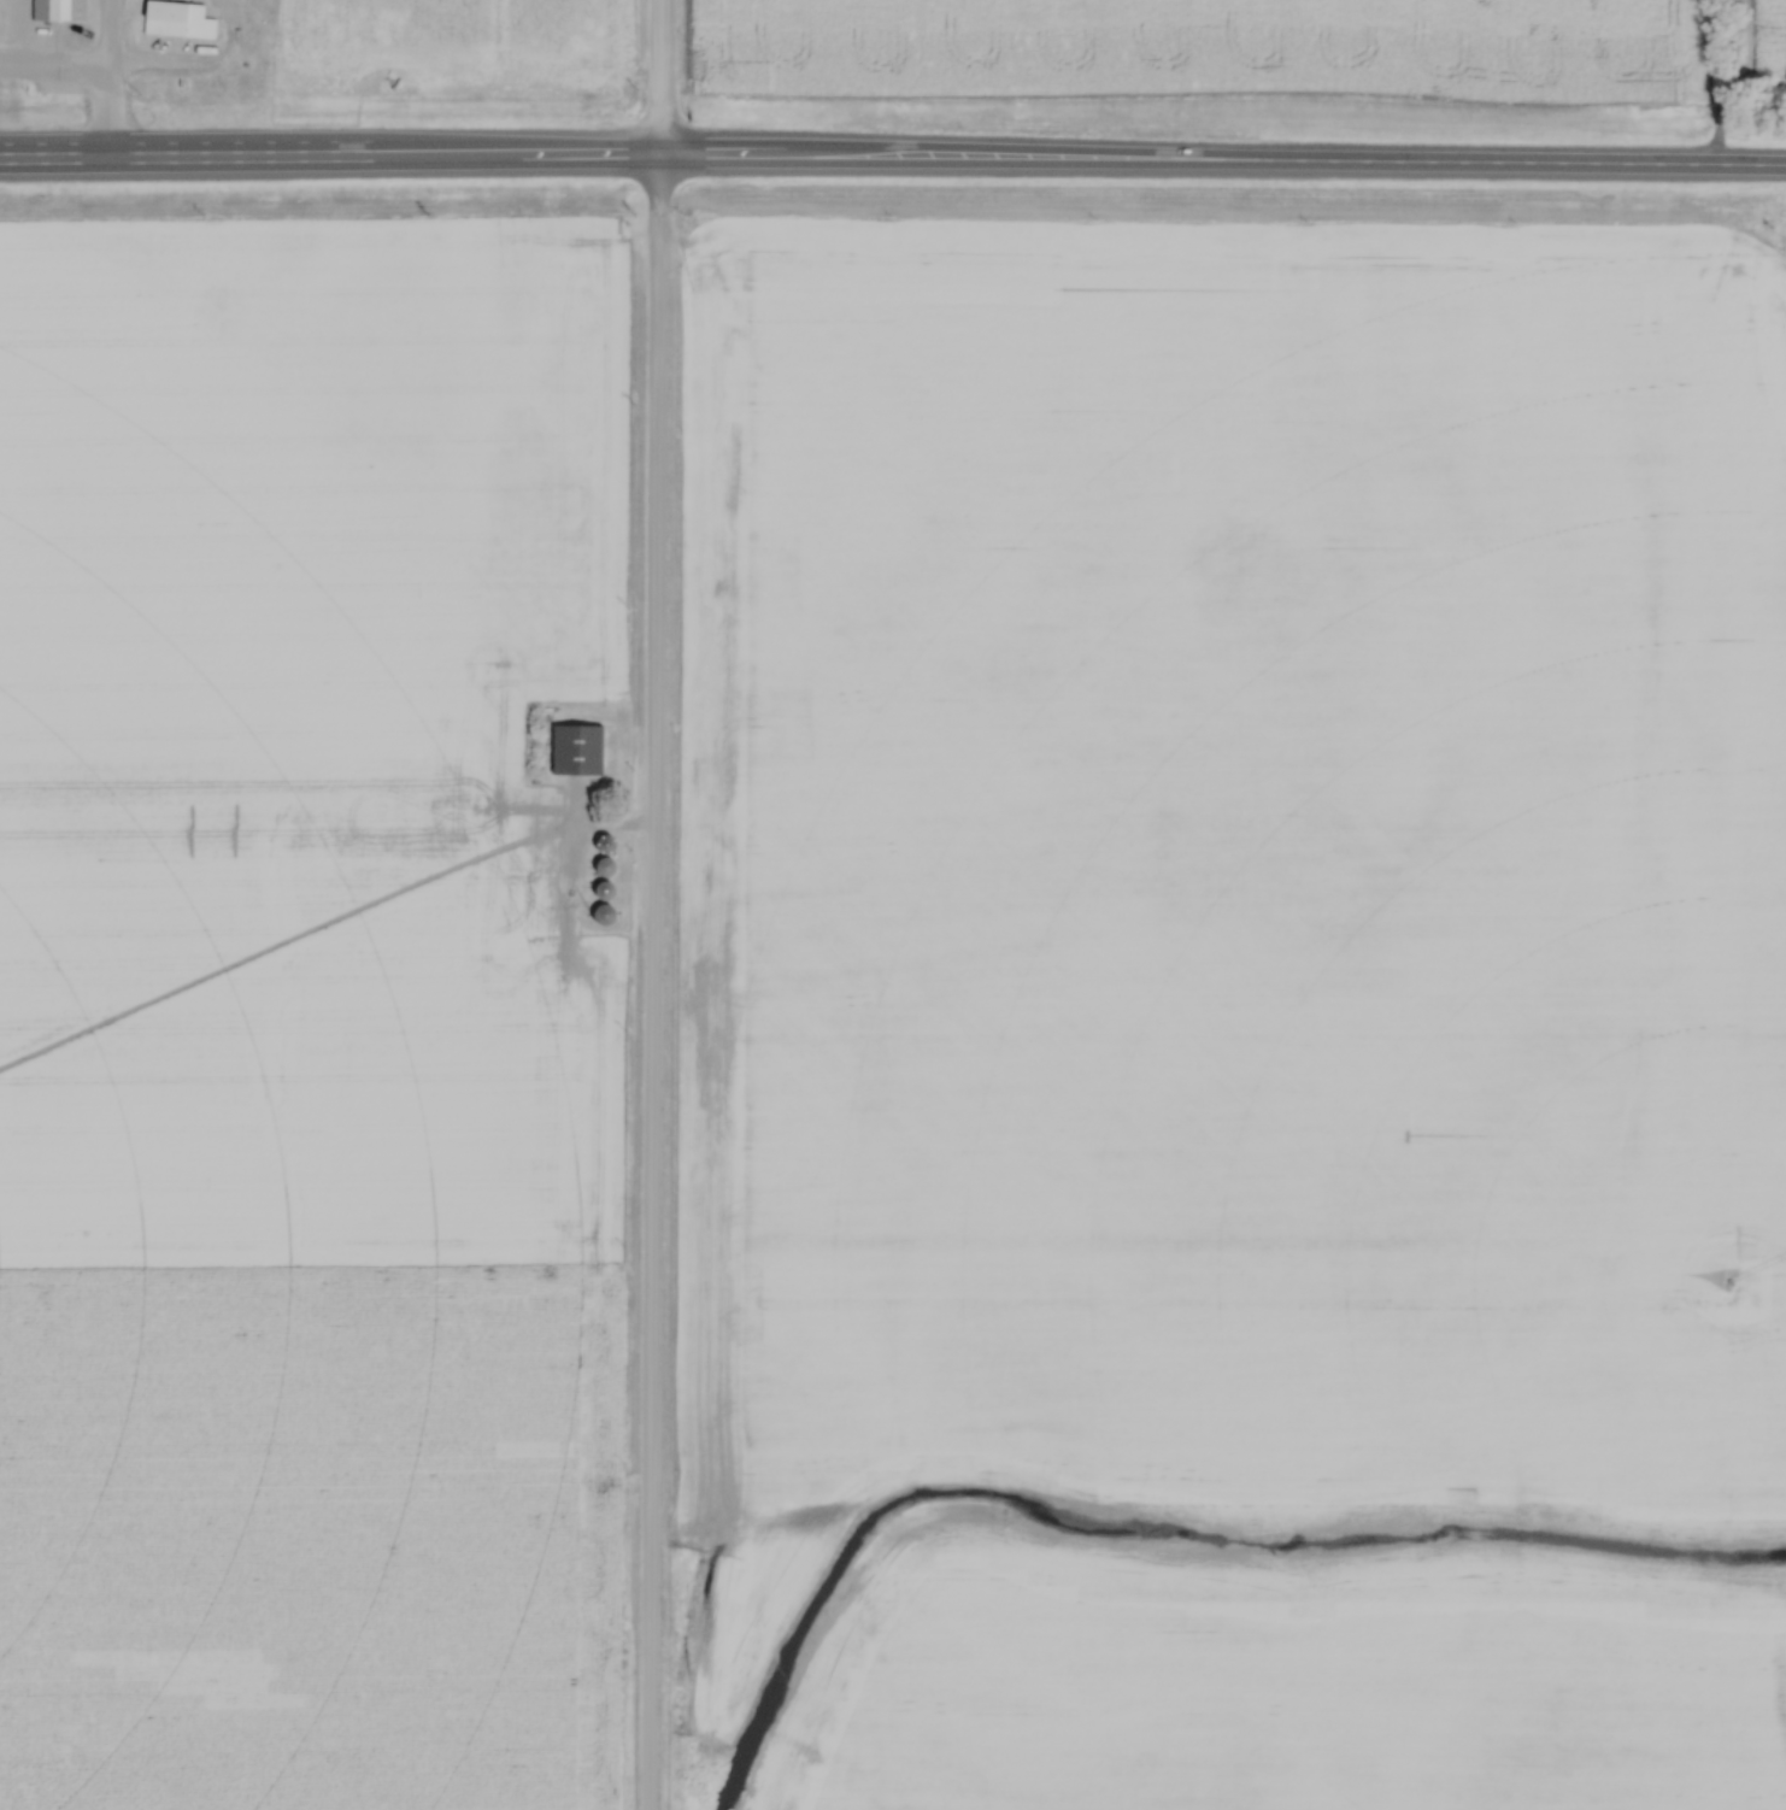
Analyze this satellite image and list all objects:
building: (57, 12)
building: (175, 19)
road: (155, 70)
road: (104, 81)
road: (892, 159)
building: (577, 750)
building: (606, 866)
building: (605, 889)
road: (652, 904)
building: (603, 913)

